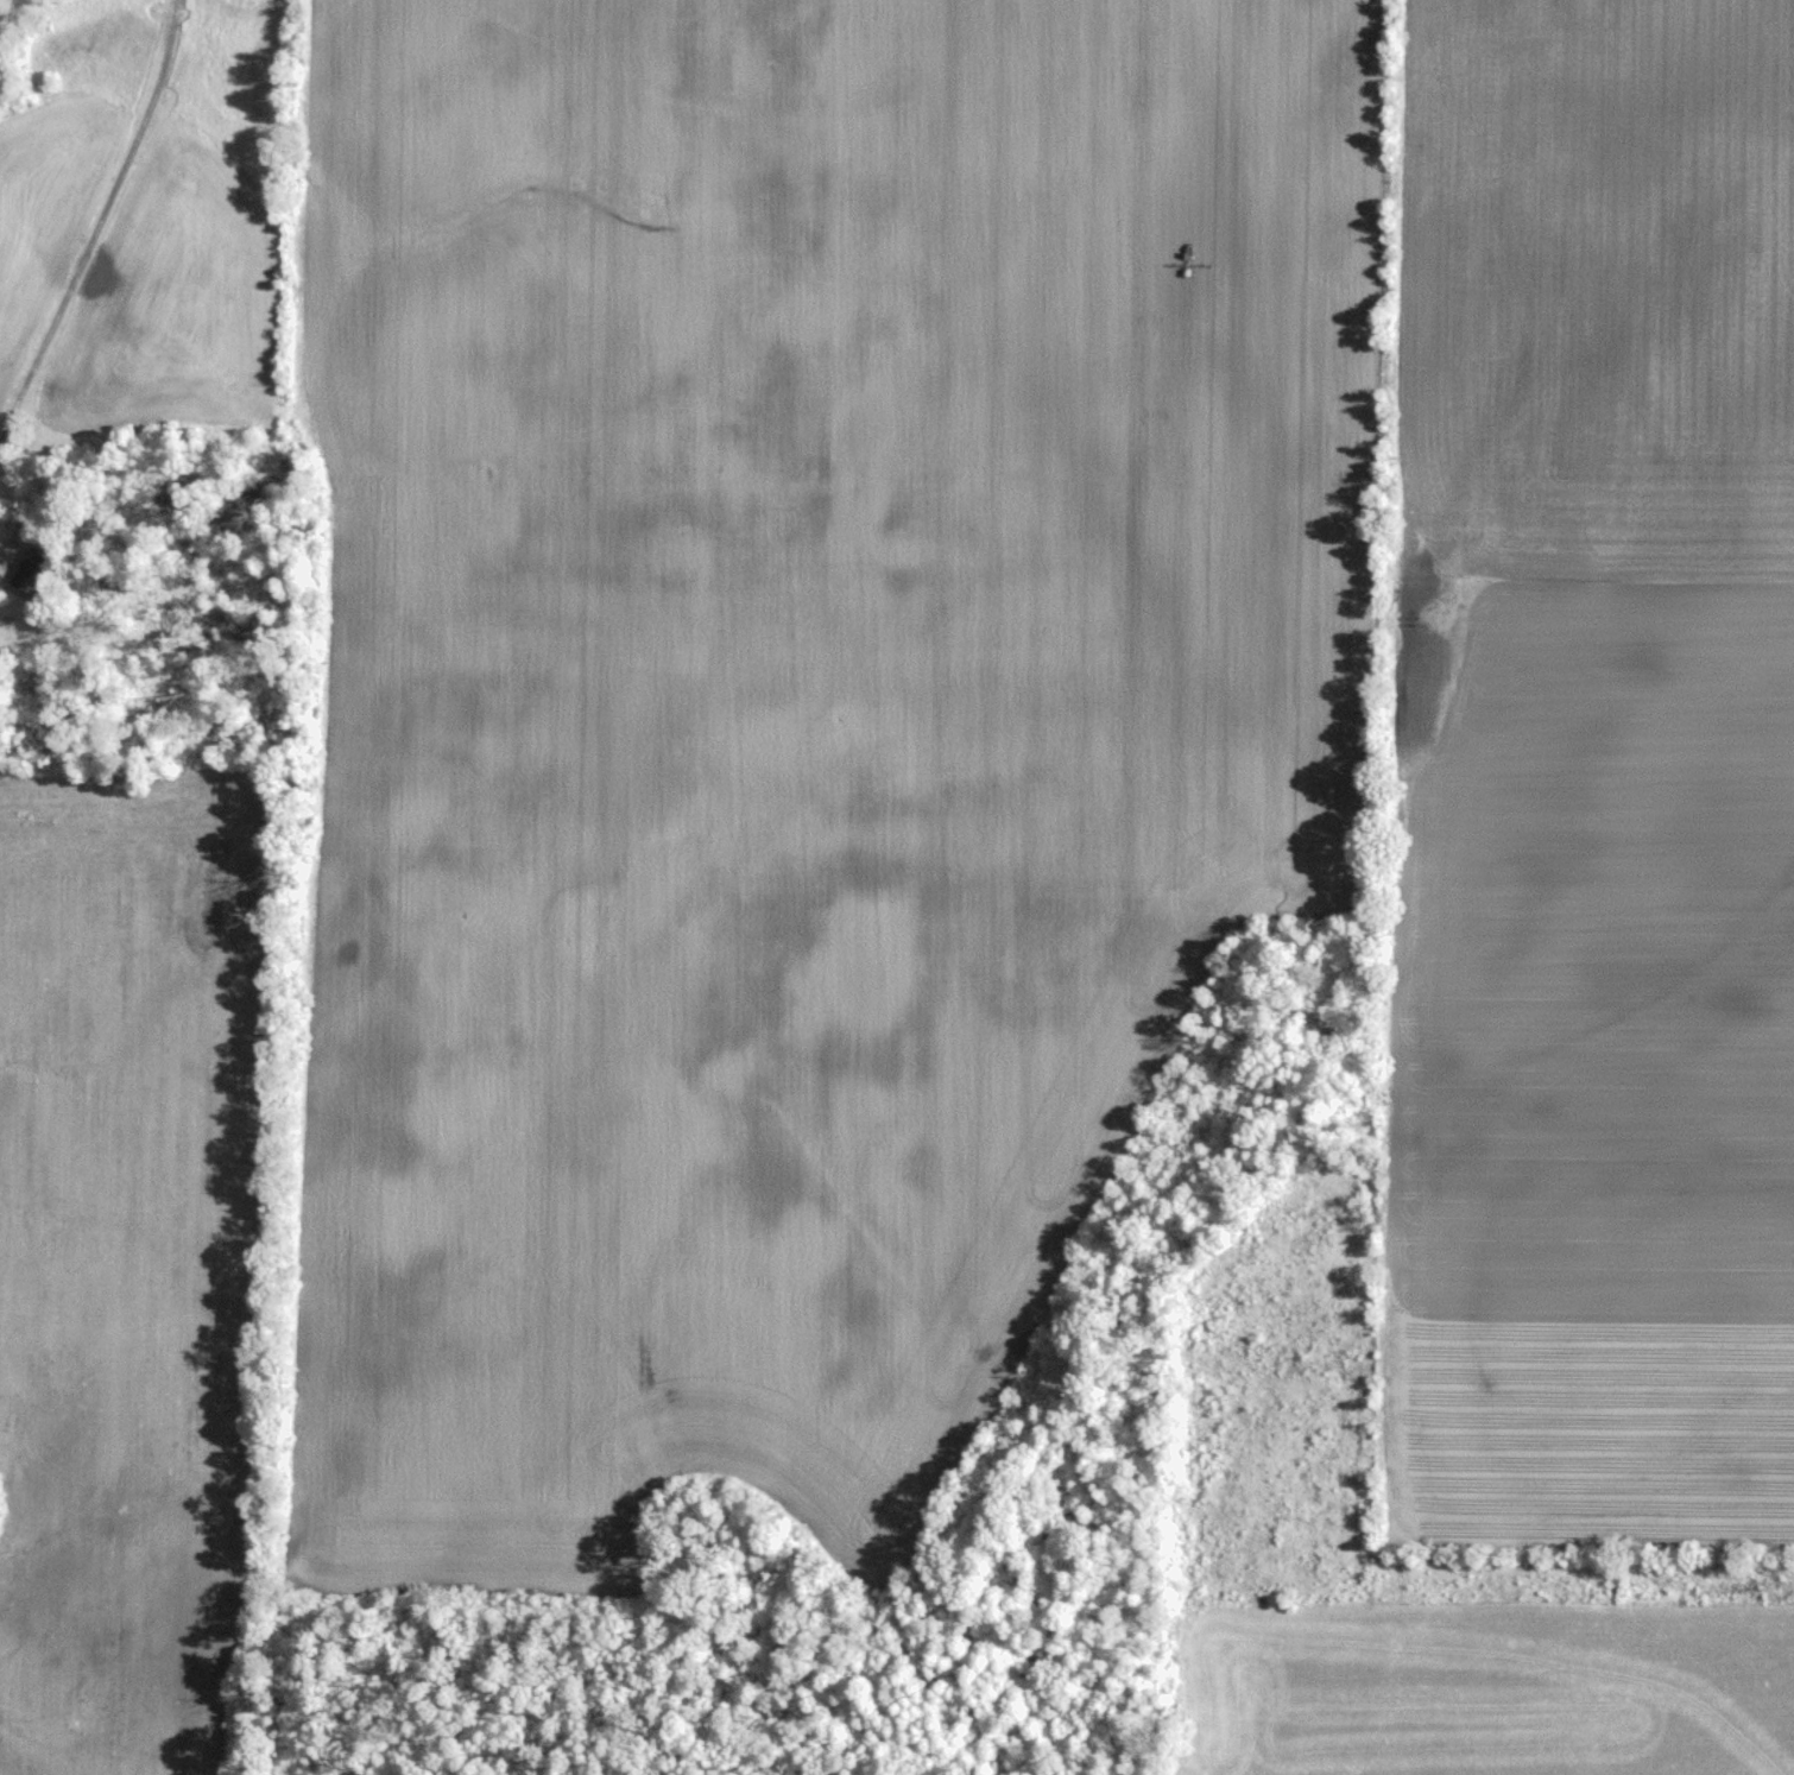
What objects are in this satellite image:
road: (95, 220)
road: (12, 498)
building: (34, 570)

